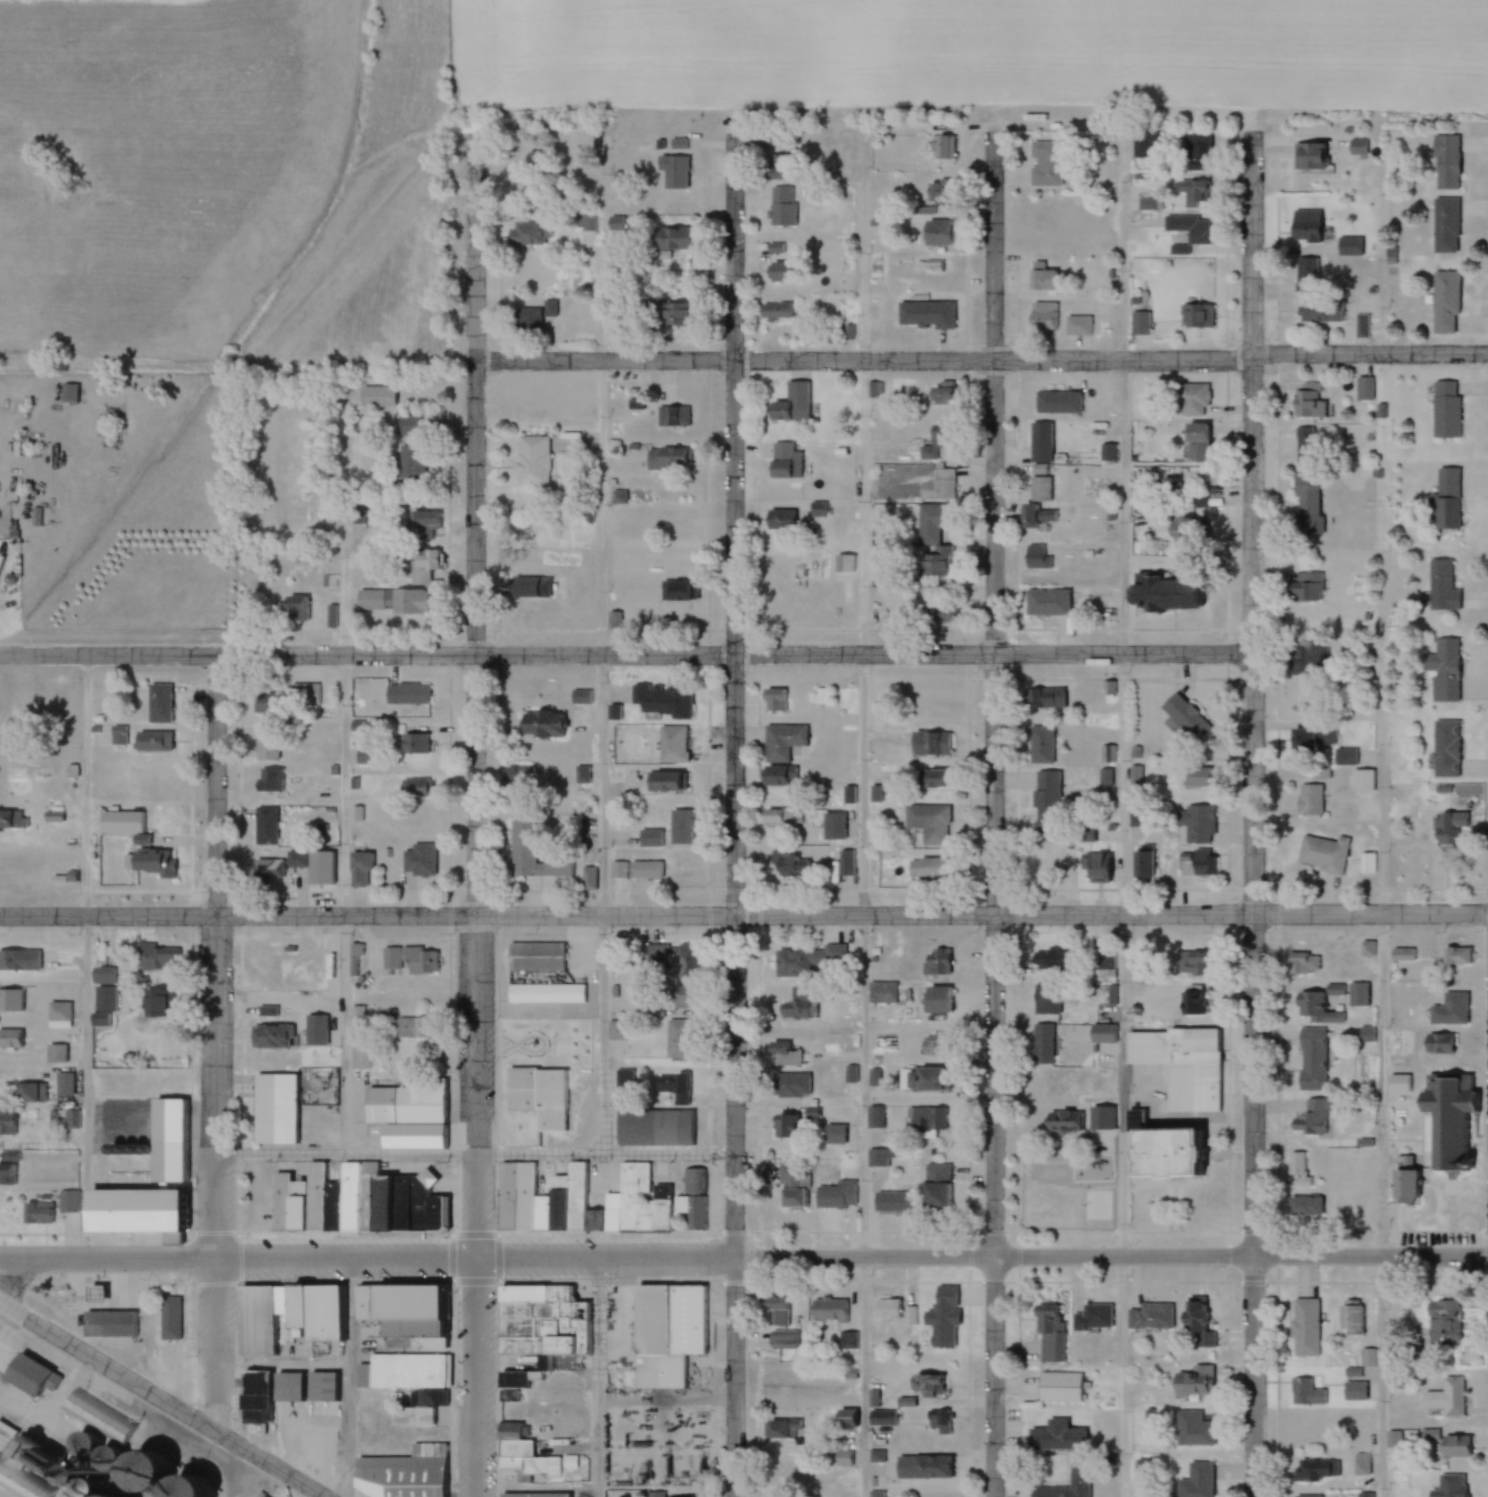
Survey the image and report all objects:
building: (1357, 147)
building: (936, 148)
building: (1198, 153)
building: (1308, 158)
building: (508, 160)
building: (1445, 163)
building: (1045, 164)
building: (772, 168)
building: (672, 172)
building: (1194, 194)
building: (780, 207)
building: (586, 224)
building: (1444, 226)
building: (1189, 228)
building: (526, 233)
building: (936, 233)
building: (1300, 233)
building: (672, 240)
road: (474, 245)
road: (994, 247)
building: (1350, 247)
road: (733, 248)
building: (937, 271)
building: (784, 273)
building: (1307, 276)
building: (1044, 282)
building: (1444, 302)
building: (549, 308)
building: (774, 312)
building: (1320, 312)
building: (663, 313)
building: (924, 315)
building: (1042, 317)
building: (1195, 317)
building: (525, 320)
building: (1139, 324)
building: (1077, 326)
building: (1362, 326)
road: (981, 362)
building: (875, 390)
building: (1364, 390)
building: (74, 392)
building: (941, 394)
building: (378, 397)
building: (1192, 400)
building: (1057, 403)
building: (1307, 403)
building: (790, 405)
building: (1445, 410)
building: (672, 417)
building: (409, 426)
building: (1040, 443)
building: (1196, 443)
building: (1304, 445)
building: (937, 447)
building: (667, 459)
building: (784, 461)
building: (532, 462)
building: (411, 463)
building: (939, 486)
building: (1039, 490)
building: (1446, 499)
building: (1198, 501)
building: (1307, 503)
building: (1035, 517)
building: (779, 520)
building: (423, 525)
building: (932, 541)
building: (1036, 557)
building: (419, 566)
building: (1441, 585)
building: (528, 588)
building: (1304, 588)
building: (676, 591)
building: (1160, 594)
building: (390, 602)
building: (1046, 603)
building: (304, 615)
building: (332, 616)
road: (602, 649)
road: (625, 655)
building: (1304, 659)
building: (1444, 669)
building: (313, 691)
building: (405, 693)
building: (1043, 698)
building: (773, 699)
building: (661, 700)
building: (273, 701)
building: (167, 703)
building: (1184, 716)
building: (539, 723)
building: (122, 735)
building: (1310, 736)
building: (159, 741)
building: (781, 741)
building: (412, 742)
building: (274, 743)
building: (929, 743)
building: (671, 744)
building: (1041, 744)
building: (1444, 748)
building: (1344, 756)
building: (1320, 773)
building: (776, 776)
building: (1136, 776)
building: (1195, 777)
building: (935, 778)
building: (268, 779)
building: (1363, 780)
building: (665, 782)
building: (417, 790)
building: (847, 795)
building: (1046, 797)
building: (1309, 799)
road: (864, 813)
road: (1253, 814)
building: (111, 815)
road: (1122, 815)
building: (776, 818)
building: (418, 820)
building: (929, 823)
building: (1196, 824)
building: (264, 826)
building: (832, 826)
building: (678, 827)
building: (1448, 828)
building: (1082, 835)
building: (1323, 853)
building: (533, 854)
building: (419, 860)
building: (1202, 861)
building: (150, 862)
building: (296, 862)
building: (844, 863)
building: (1367, 863)
building: (787, 866)
building: (1092, 867)
building: (266, 869)
building: (358, 869)
building: (925, 869)
building: (635, 870)
road: (343, 904)
road: (743, 916)
road: (86, 923)
road: (735, 929)
road: (994, 929)
road: (476, 930)
building: (656, 953)
building: (331, 954)
building: (541, 954)
building: (1402, 954)
building: (1456, 955)
building: (158, 957)
building: (409, 959)
building: (1049, 959)
building: (1105, 960)
building: (687, 961)
building: (809, 962)
building: (936, 962)
building: (1300, 962)
building: (1194, 964)
building: (103, 975)
building: (1333, 988)
building: (551, 990)
building: (1358, 994)
building: (15, 997)
building: (1046, 998)
building: (935, 999)
building: (678, 1001)
building: (1200, 1002)
building: (152, 1003)
building: (795, 1005)
building: (1315, 1009)
building: (1449, 1010)
building: (58, 1015)
building: (408, 1026)
building: (314, 1030)
building: (615, 1030)
building: (1102, 1033)
building: (269, 1036)
building: (677, 1038)
road: (215, 1042)
building: (1041, 1043)
building: (1438, 1043)
building: (929, 1047)
building: (55, 1054)
building: (781, 1054)
building: (1310, 1058)
building: (1180, 1064)
building: (924, 1079)
building: (63, 1084)
building: (790, 1085)
building: (673, 1087)
building: (29, 1093)
building: (538, 1096)
building: (282, 1104)
building: (409, 1113)
building: (1312, 1117)
building: (1447, 1118)
building: (63, 1119)
building: (926, 1119)
building: (6, 1122)
building: (1063, 1122)
building: (792, 1124)
building: (659, 1126)
building: (181, 1132)
building: (833, 1135)
road: (1382, 1144)
road: (474, 1155)
building: (877, 1158)
building: (1192, 1158)
building: (167, 1161)
building: (1298, 1169)
building: (7, 1174)
building: (790, 1176)
building: (1401, 1181)
building: (934, 1185)
building: (836, 1196)
building: (794, 1199)
building: (66, 1201)
building: (355, 1202)
building: (890, 1202)
building: (654, 1203)
building: (148, 1204)
building: (1353, 1205)
building: (1304, 1207)
building: (36, 1213)
road: (744, 1258)
building: (106, 1288)
building: (421, 1292)
building: (336, 1305)
building: (887, 1309)
building: (828, 1310)
building: (774, 1312)
building: (174, 1313)
building: (1045, 1313)
building: (676, 1314)
building: (263, 1315)
building: (1095, 1316)
building: (1149, 1317)
building: (116, 1318)
building: (908, 1319)
building: (1350, 1319)
building: (1196, 1322)
building: (1443, 1322)
building: (540, 1324)
building: (1304, 1328)
building: (847, 1340)
building: (782, 1341)
building: (37, 1369)
road: (599, 1377)
building: (1193, 1383)
building: (408, 1384)
building: (924, 1384)
building: (305, 1387)
building: (1059, 1387)
building: (253, 1390)
building: (1353, 1391)
building: (1306, 1392)
building: (1452, 1396)
road: (160, 1400)
building: (905, 1402)
building: (102, 1416)
building: (844, 1418)
building: (880, 1418)
building: (939, 1421)
building: (780, 1429)
building: (1192, 1429)
building: (1055, 1437)
building: (1447, 1444)
building: (520, 1447)
building: (875, 1457)
building: (842, 1458)
building: (1362, 1464)
building: (776, 1465)
building: (922, 1468)
building: (1316, 1469)
building: (402, 1473)
building: (1077, 1473)
building: (24, 1478)
building: (1196, 1481)
building: (1462, 1487)
building: (876, 1494)
building: (531, 1495)
building: (656, 1495)
building: (1307, 1496)

